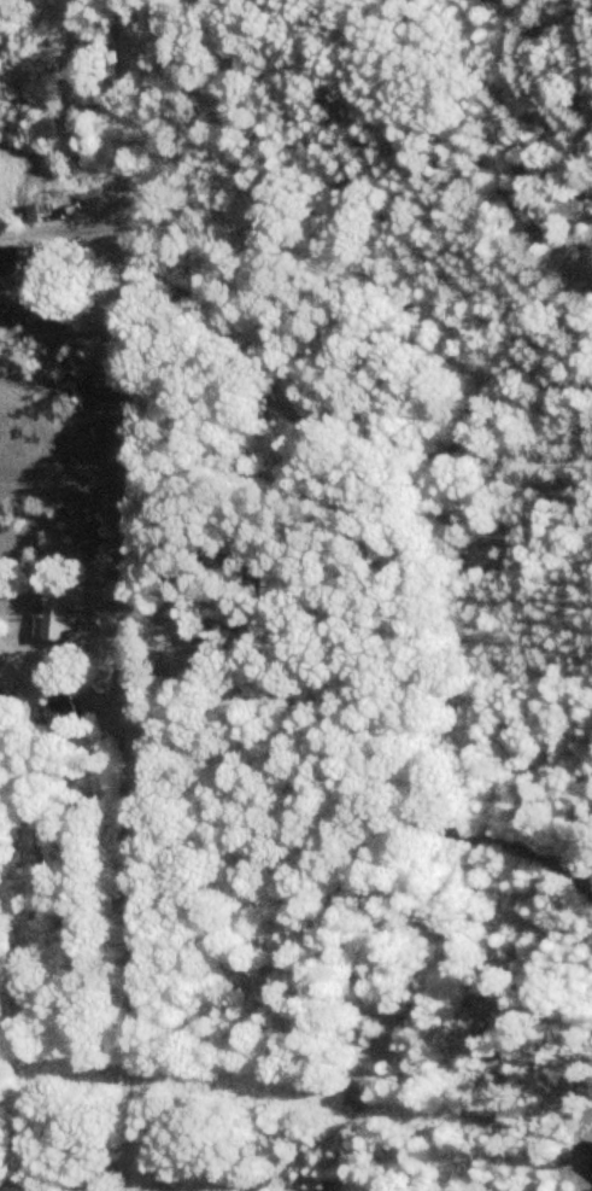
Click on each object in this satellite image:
building: (16, 256)
road: (127, 595)
building: (61, 607)
building: (60, 710)

